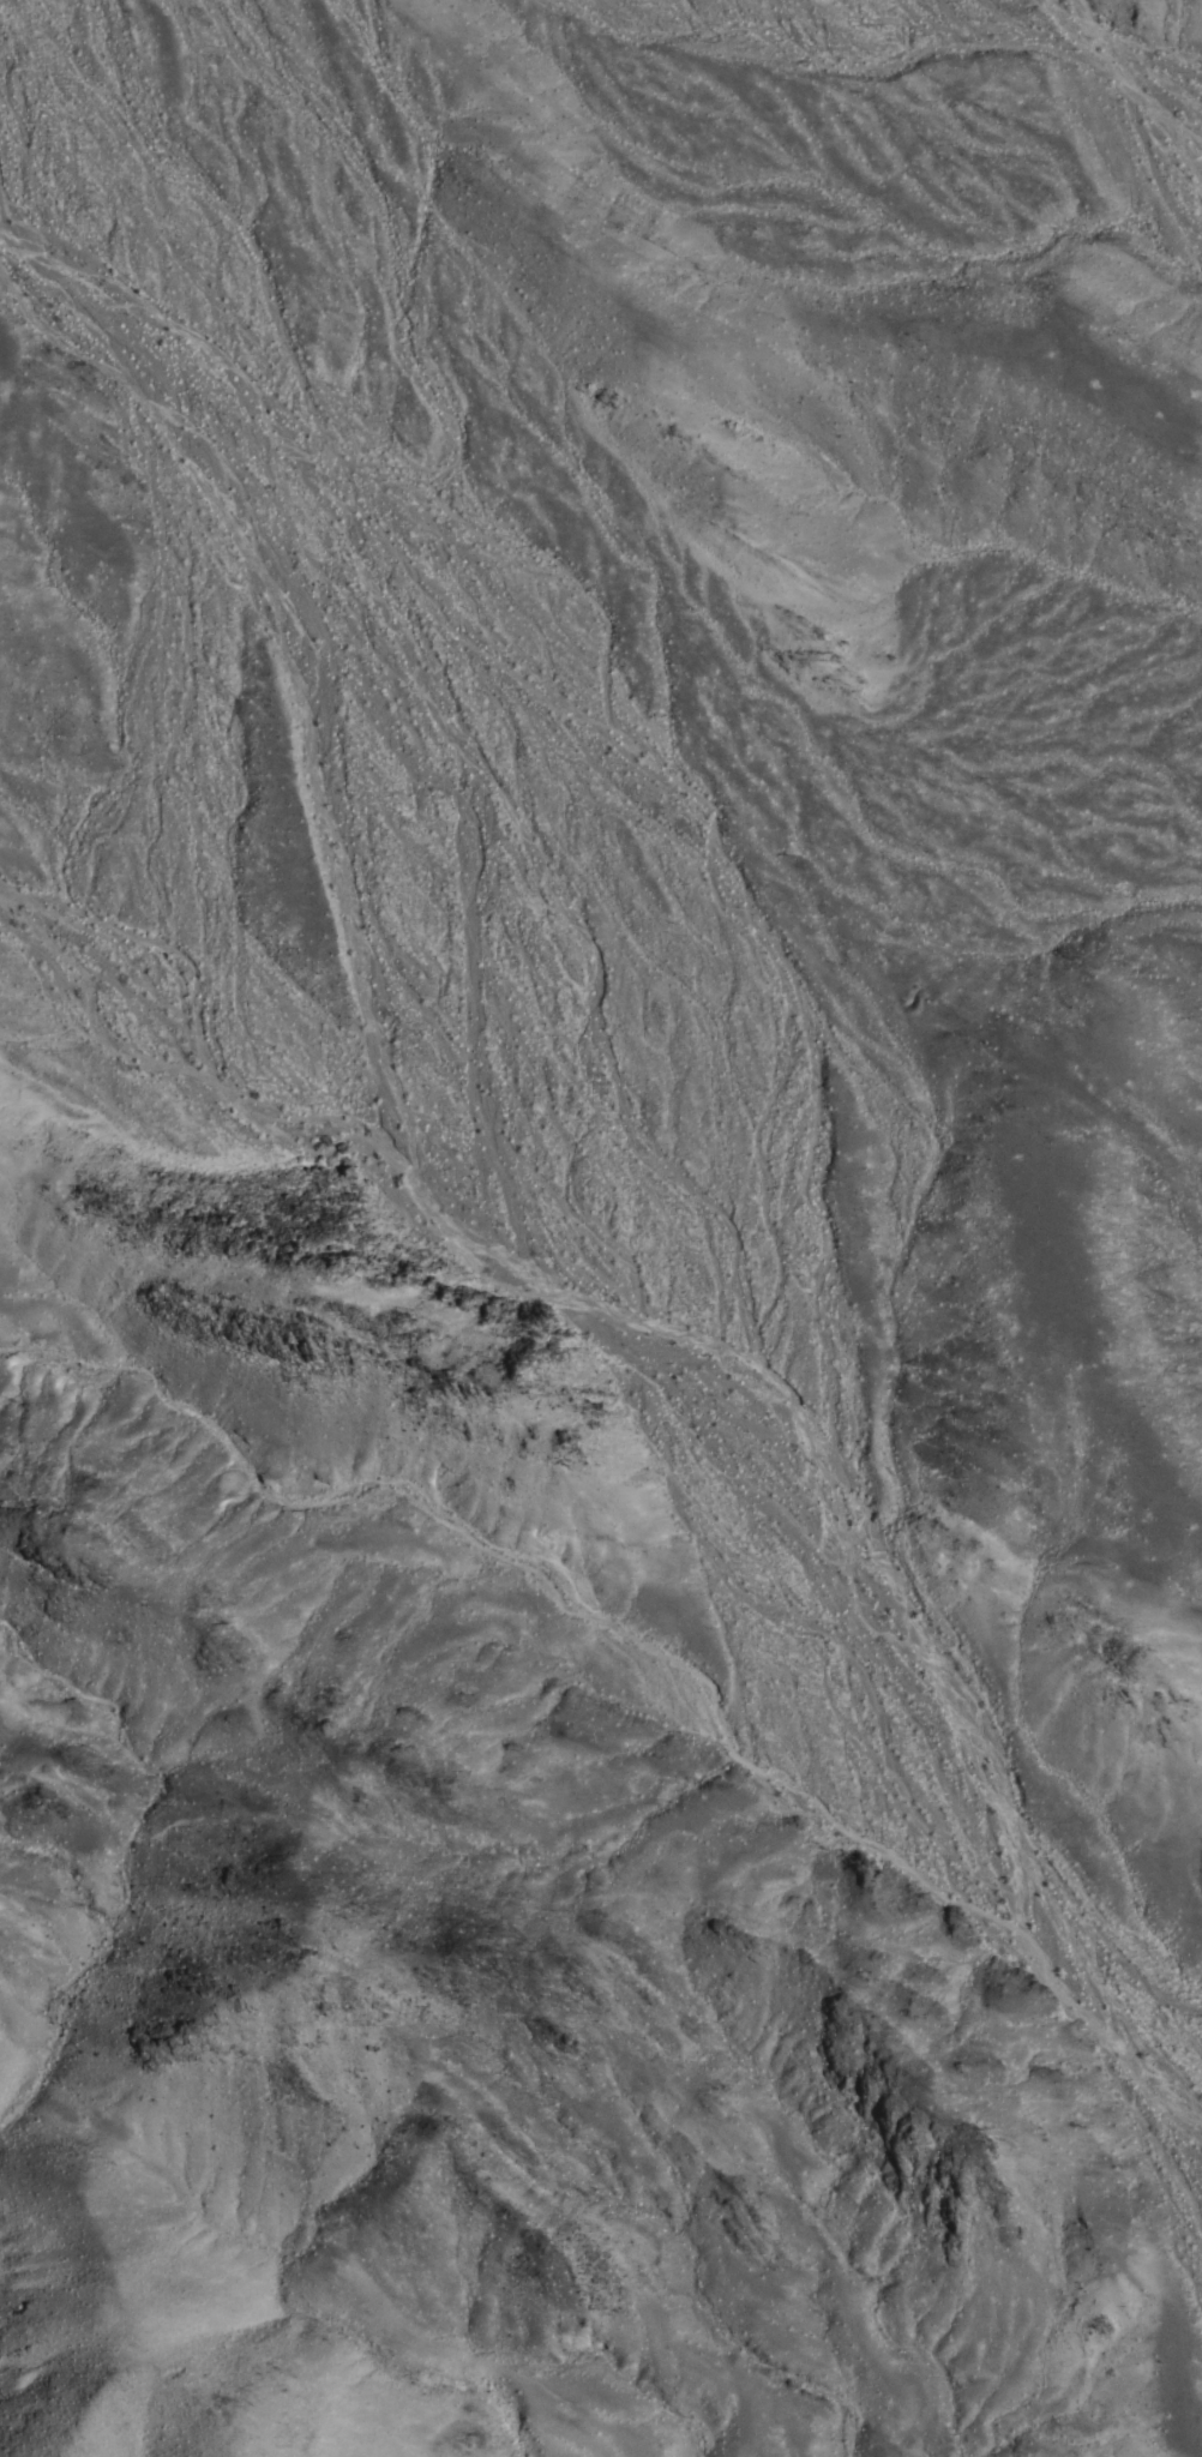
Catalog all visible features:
road: (1196, 2408)

